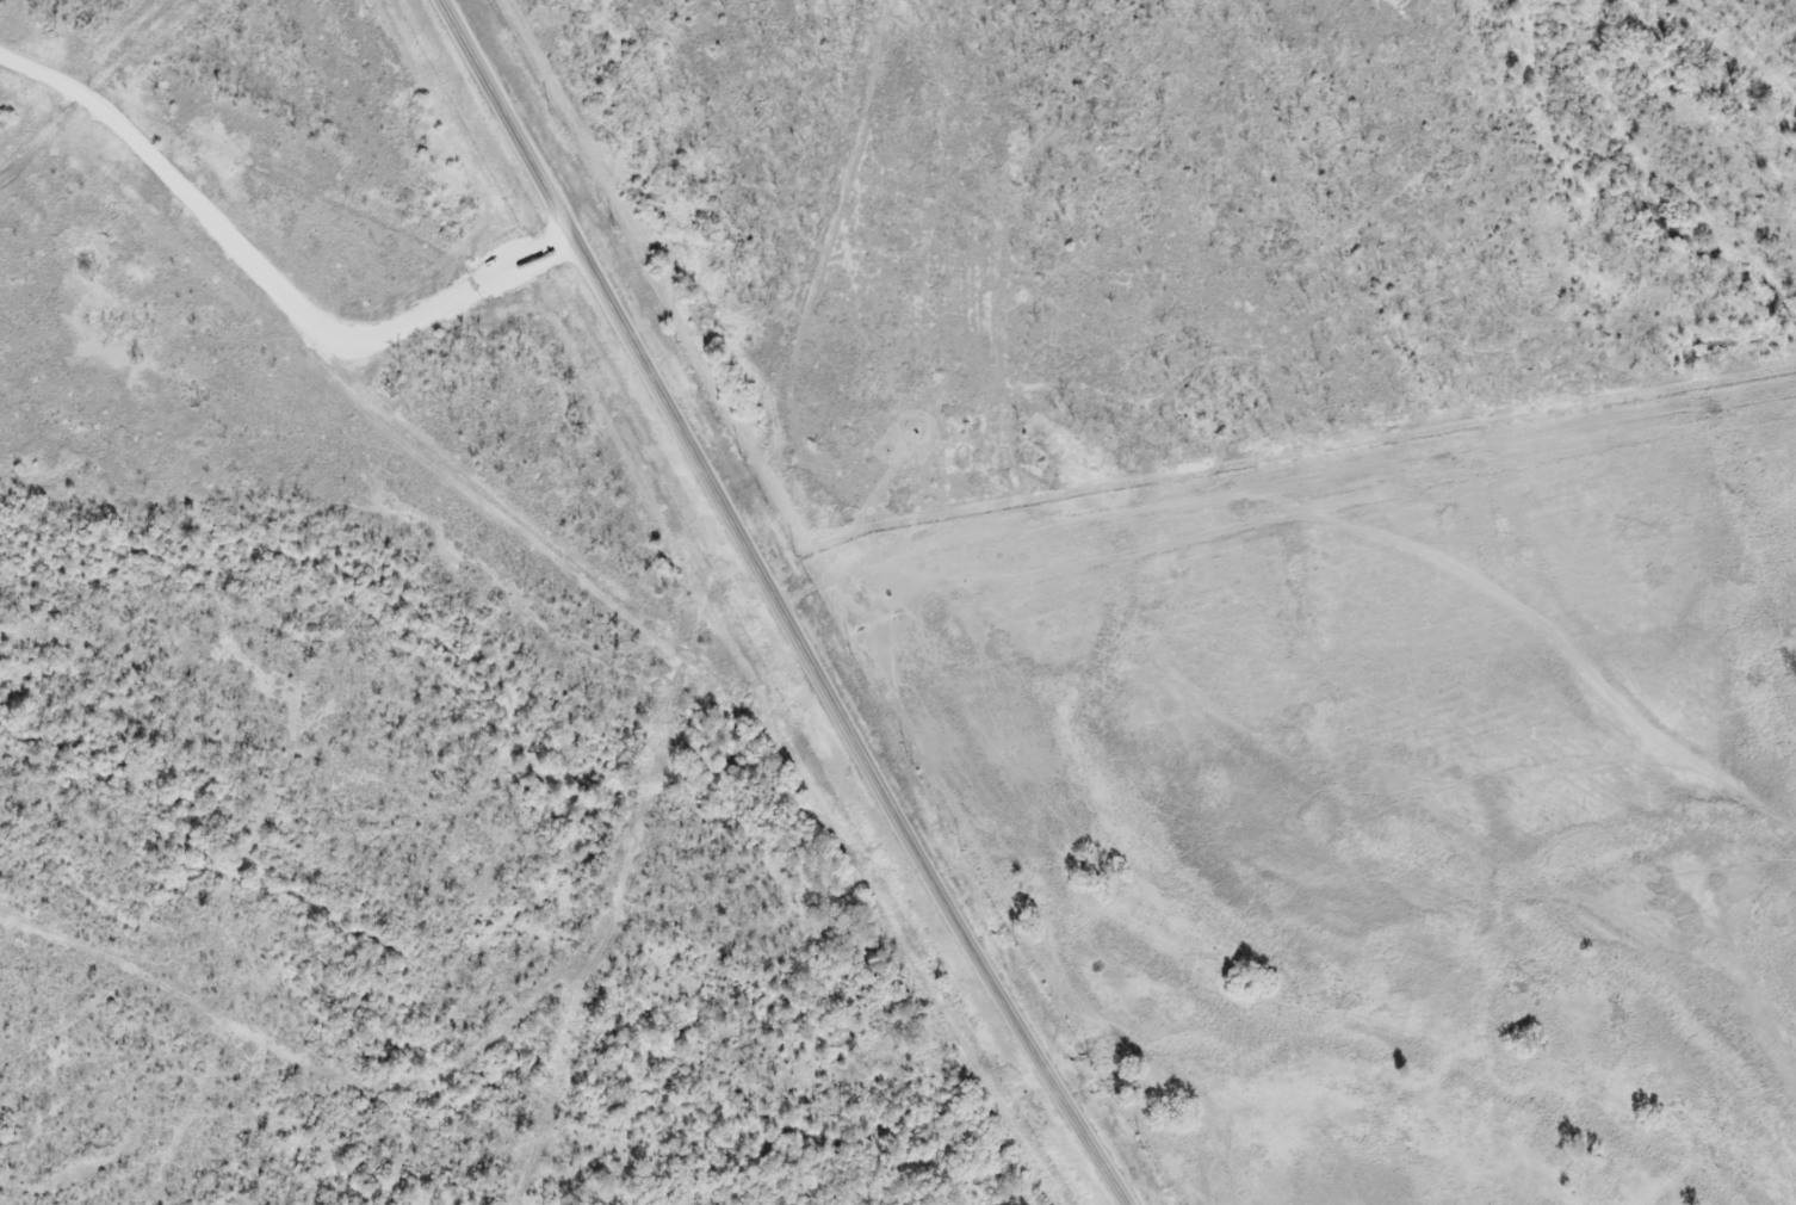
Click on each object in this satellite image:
road: (271, 284)
road: (1106, 537)
road: (778, 606)

